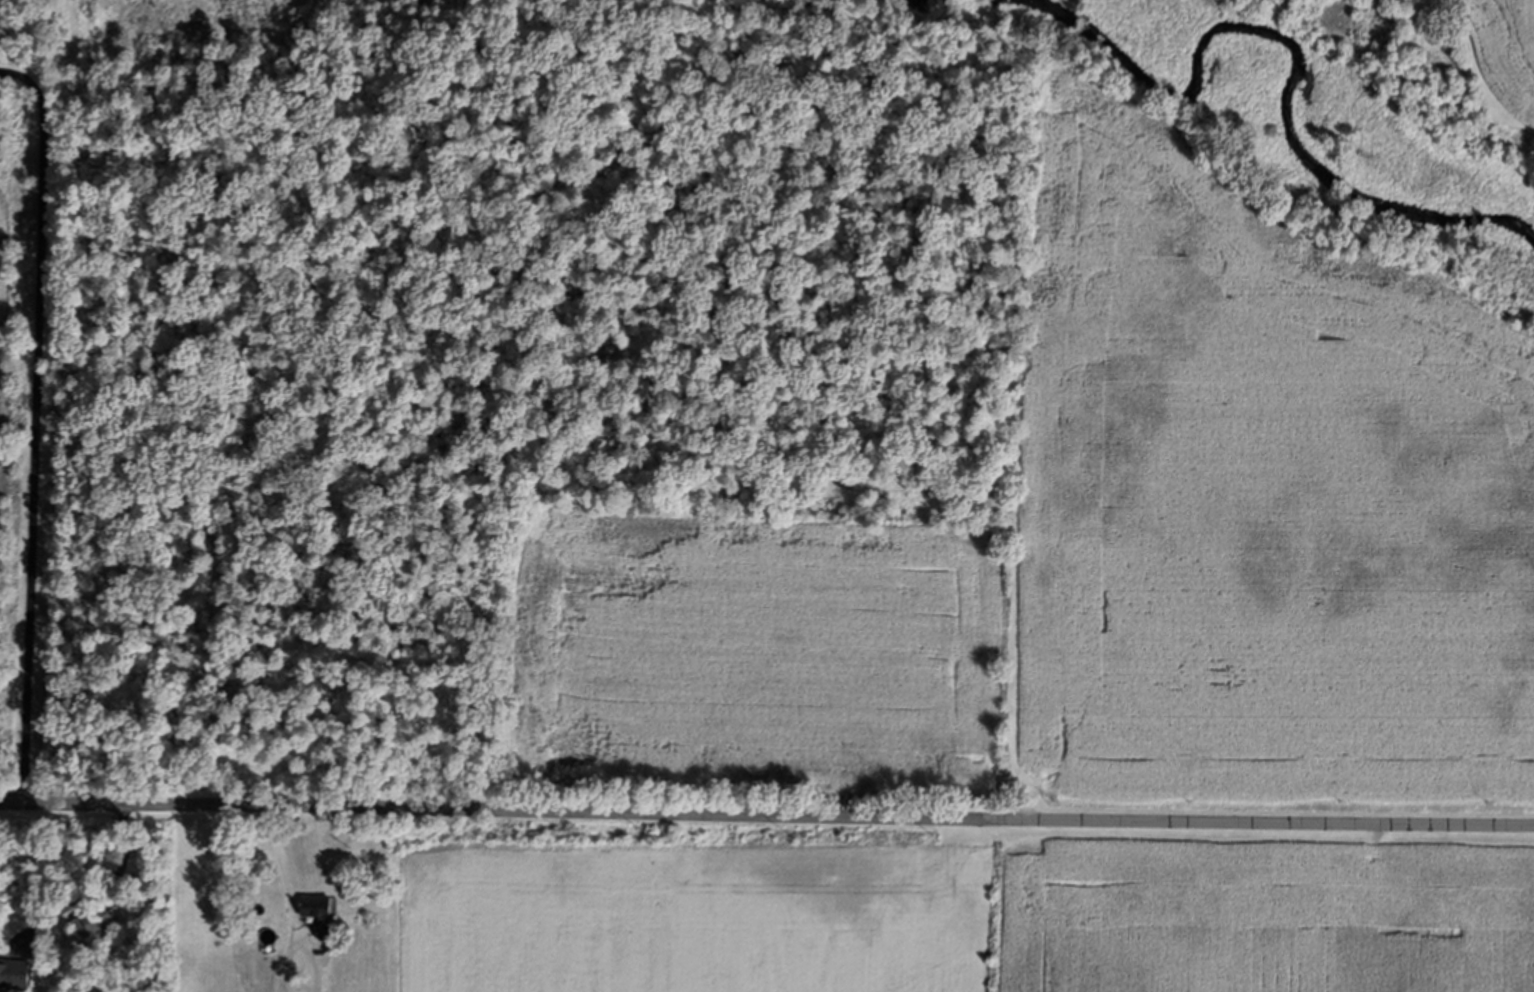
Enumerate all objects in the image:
road: (33, 426)
road: (766, 822)
road: (282, 871)
road: (96, 889)
building: (323, 914)
building: (97, 920)
building: (16, 974)

